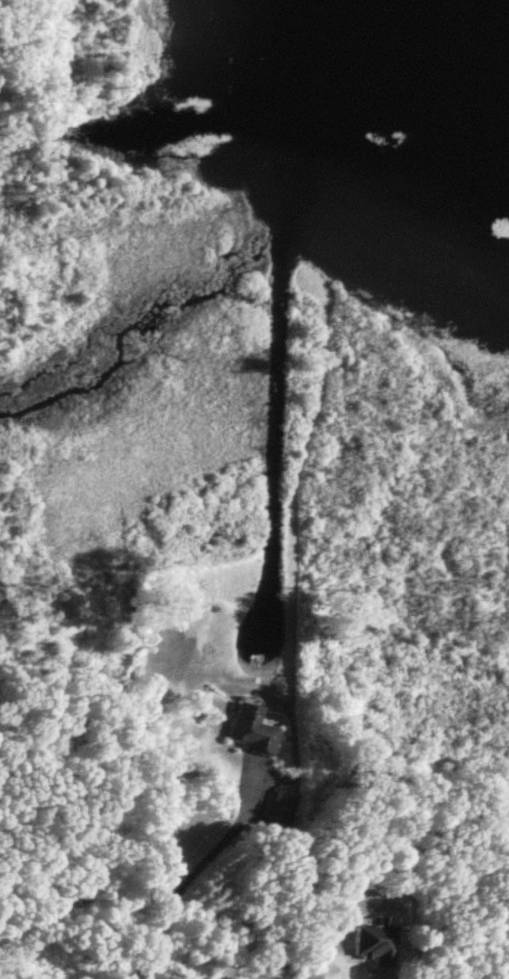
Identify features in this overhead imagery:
building: (250, 728)
building: (278, 811)
road: (210, 883)
building: (372, 941)

